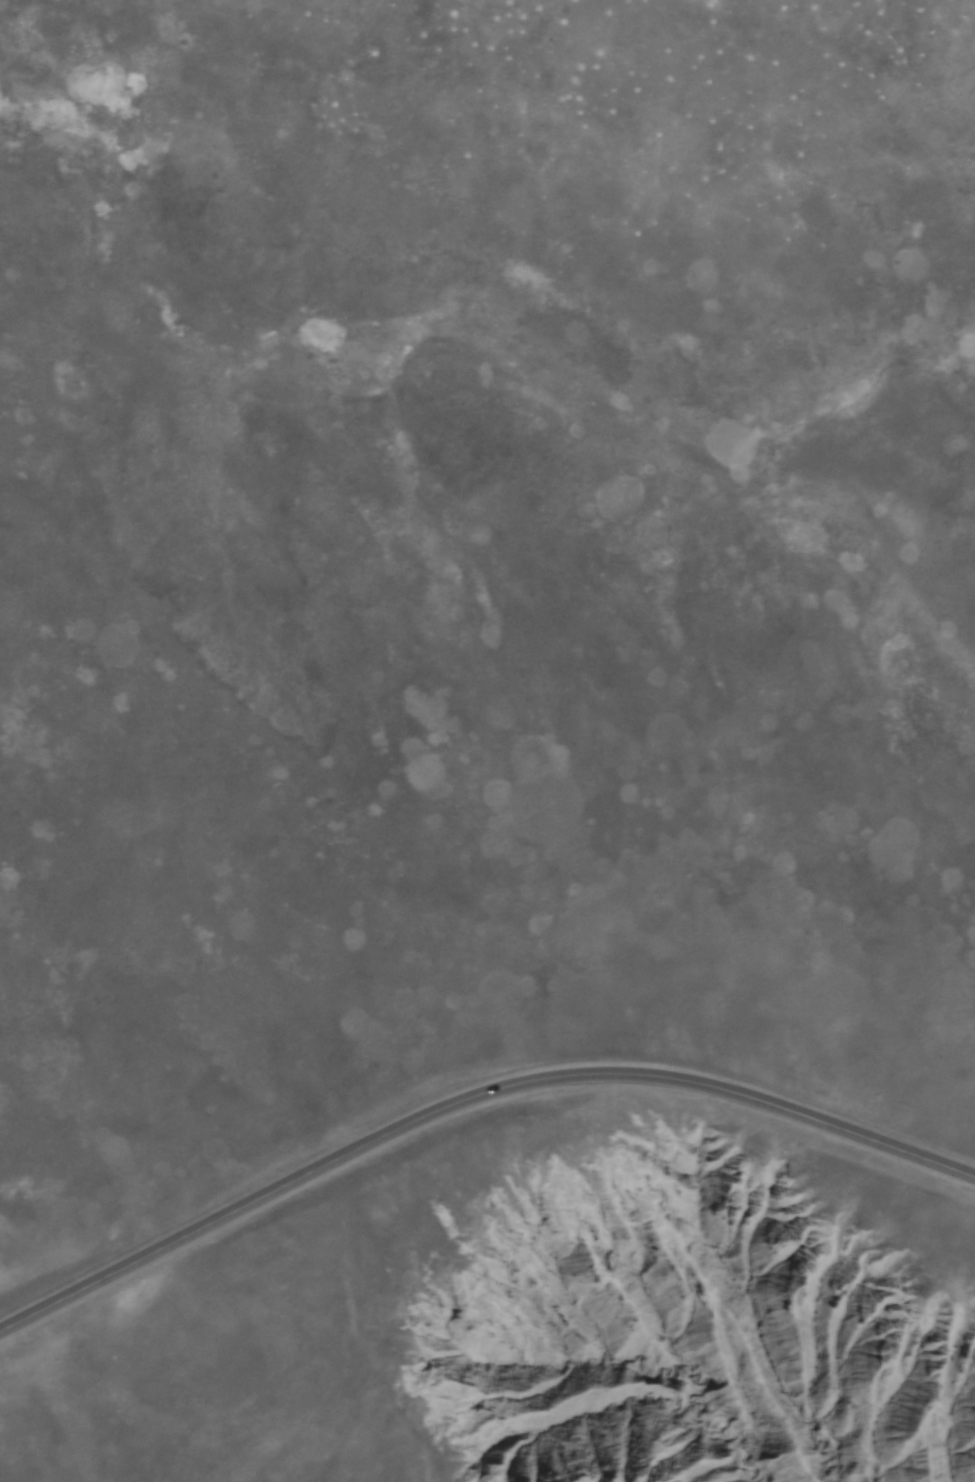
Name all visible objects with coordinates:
road: (469, 1097)

